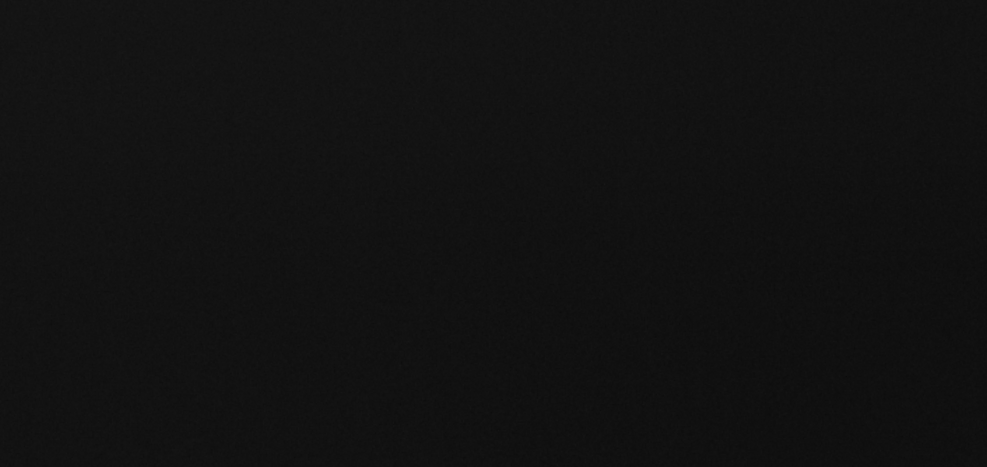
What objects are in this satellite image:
river: (779, 233)

